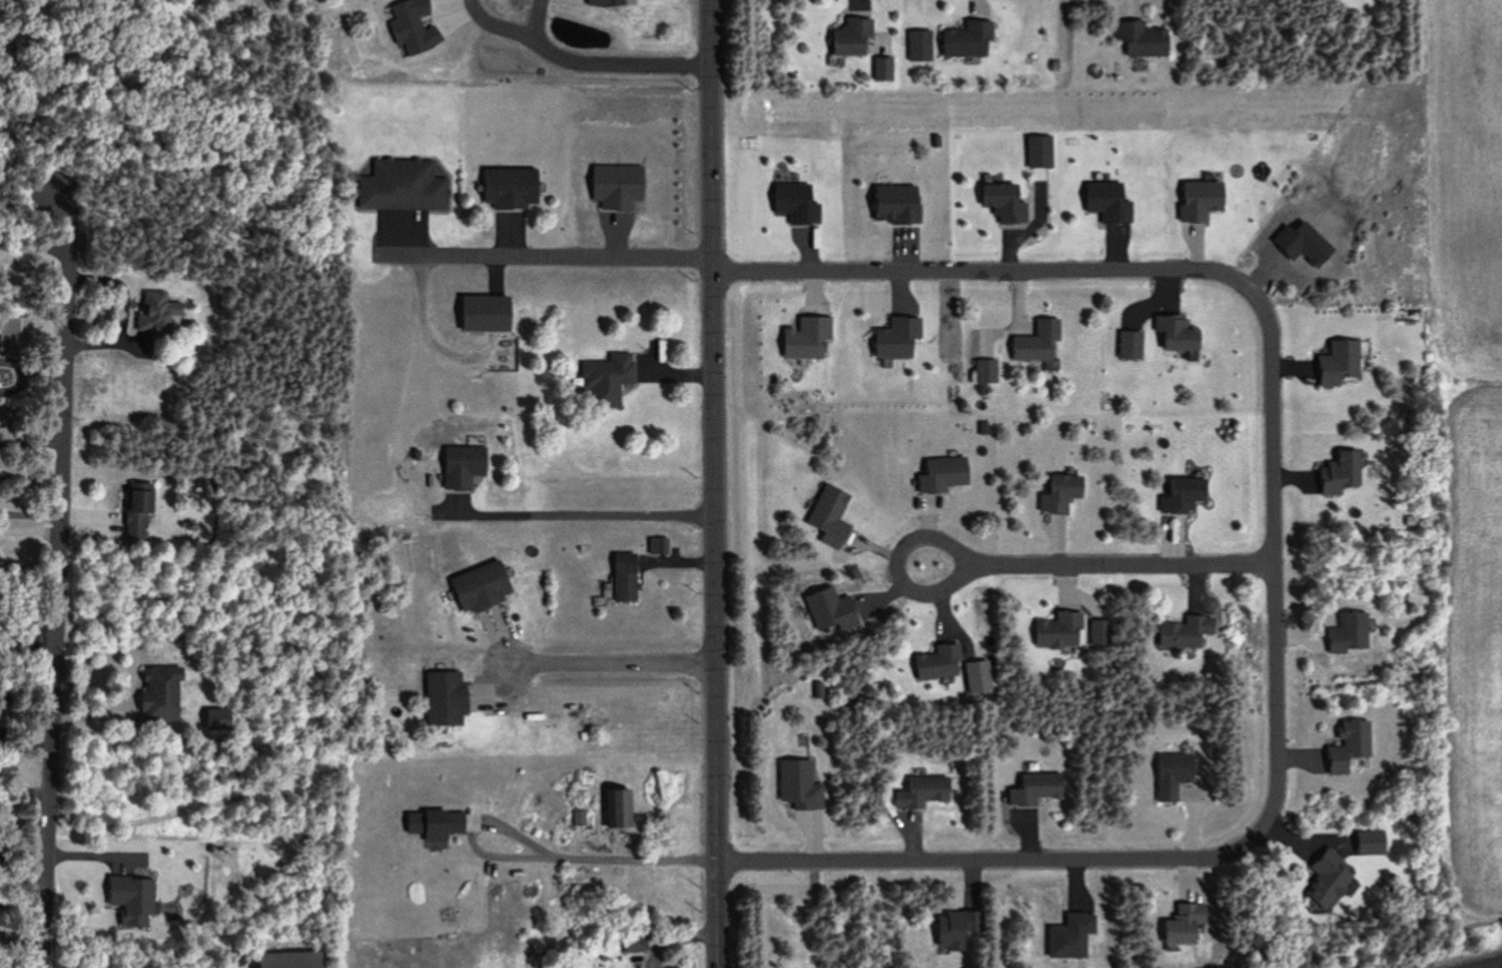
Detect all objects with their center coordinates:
road: (517, 31)
building: (849, 37)
building: (966, 39)
building: (1140, 39)
road: (619, 63)
building: (881, 68)
building: (399, 184)
crop: (1466, 184)
building: (504, 187)
road: (542, 257)
building: (151, 312)
building: (479, 312)
building: (1172, 333)
building: (1030, 340)
building: (602, 379)
building: (250, 438)
building: (457, 466)
building: (1338, 472)
building: (938, 474)
road: (714, 483)
building: (1057, 493)
building: (1177, 499)
building: (131, 513)
road: (0, 526)
road: (33, 526)
road: (0, 527)
road: (893, 564)
road: (1123, 564)
road: (1275, 564)
road: (64, 573)
building: (621, 579)
building: (475, 587)
building: (1055, 630)
building: (1346, 632)
building: (1178, 633)
airport: (1469, 644)
building: (936, 662)
road: (604, 666)
building: (155, 693)
building: (441, 697)
building: (1170, 774)
building: (658, 784)
road: (27, 786)
building: (1034, 788)
building: (919, 791)
building: (616, 807)
road: (26, 815)
building: (431, 823)
road: (543, 844)
building: (632, 944)
railway: (1500, 967)

